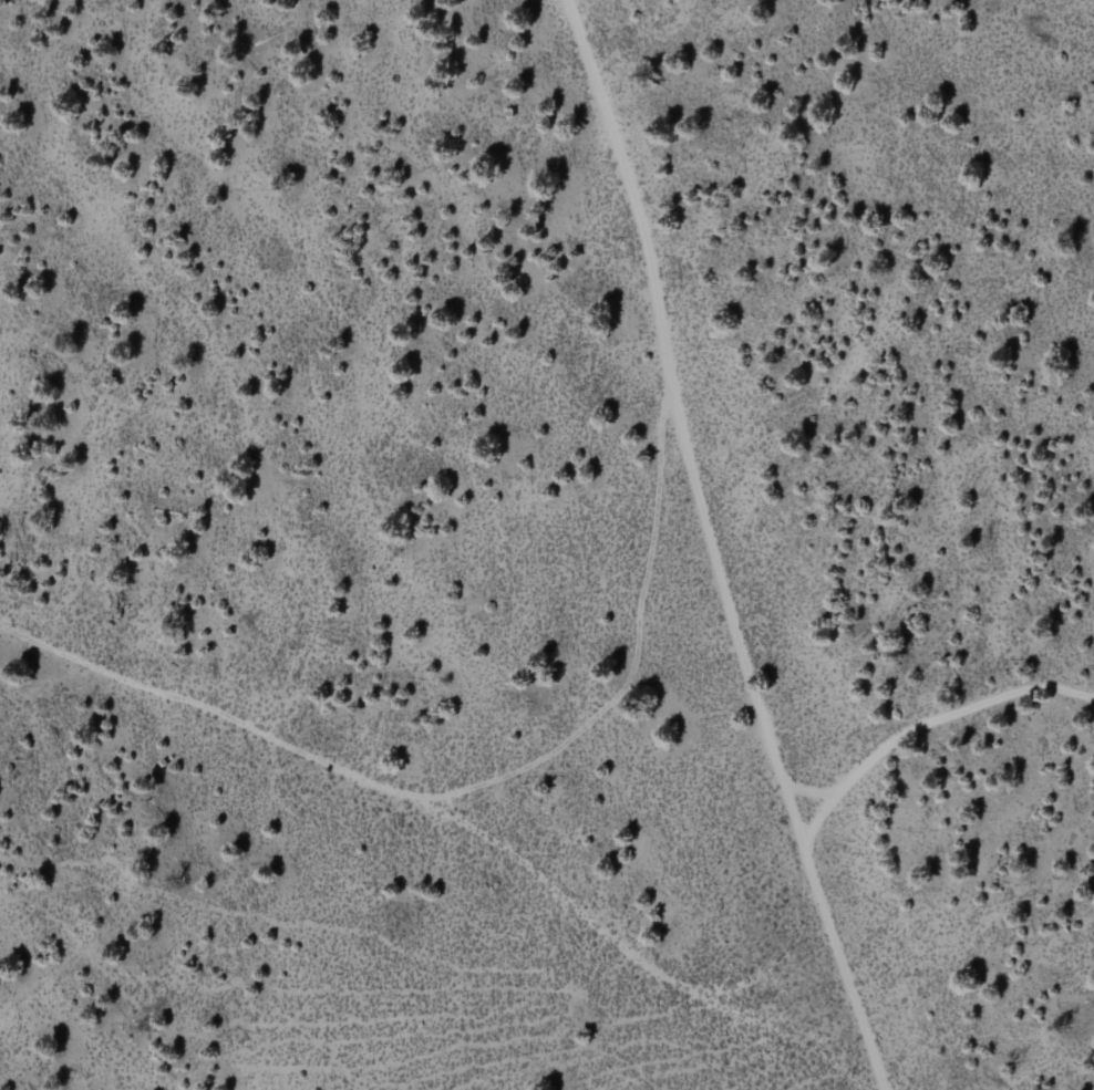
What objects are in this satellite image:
road: (678, 425)
road: (631, 651)
road: (923, 730)
road: (809, 791)
road: (454, 821)
road: (840, 970)

